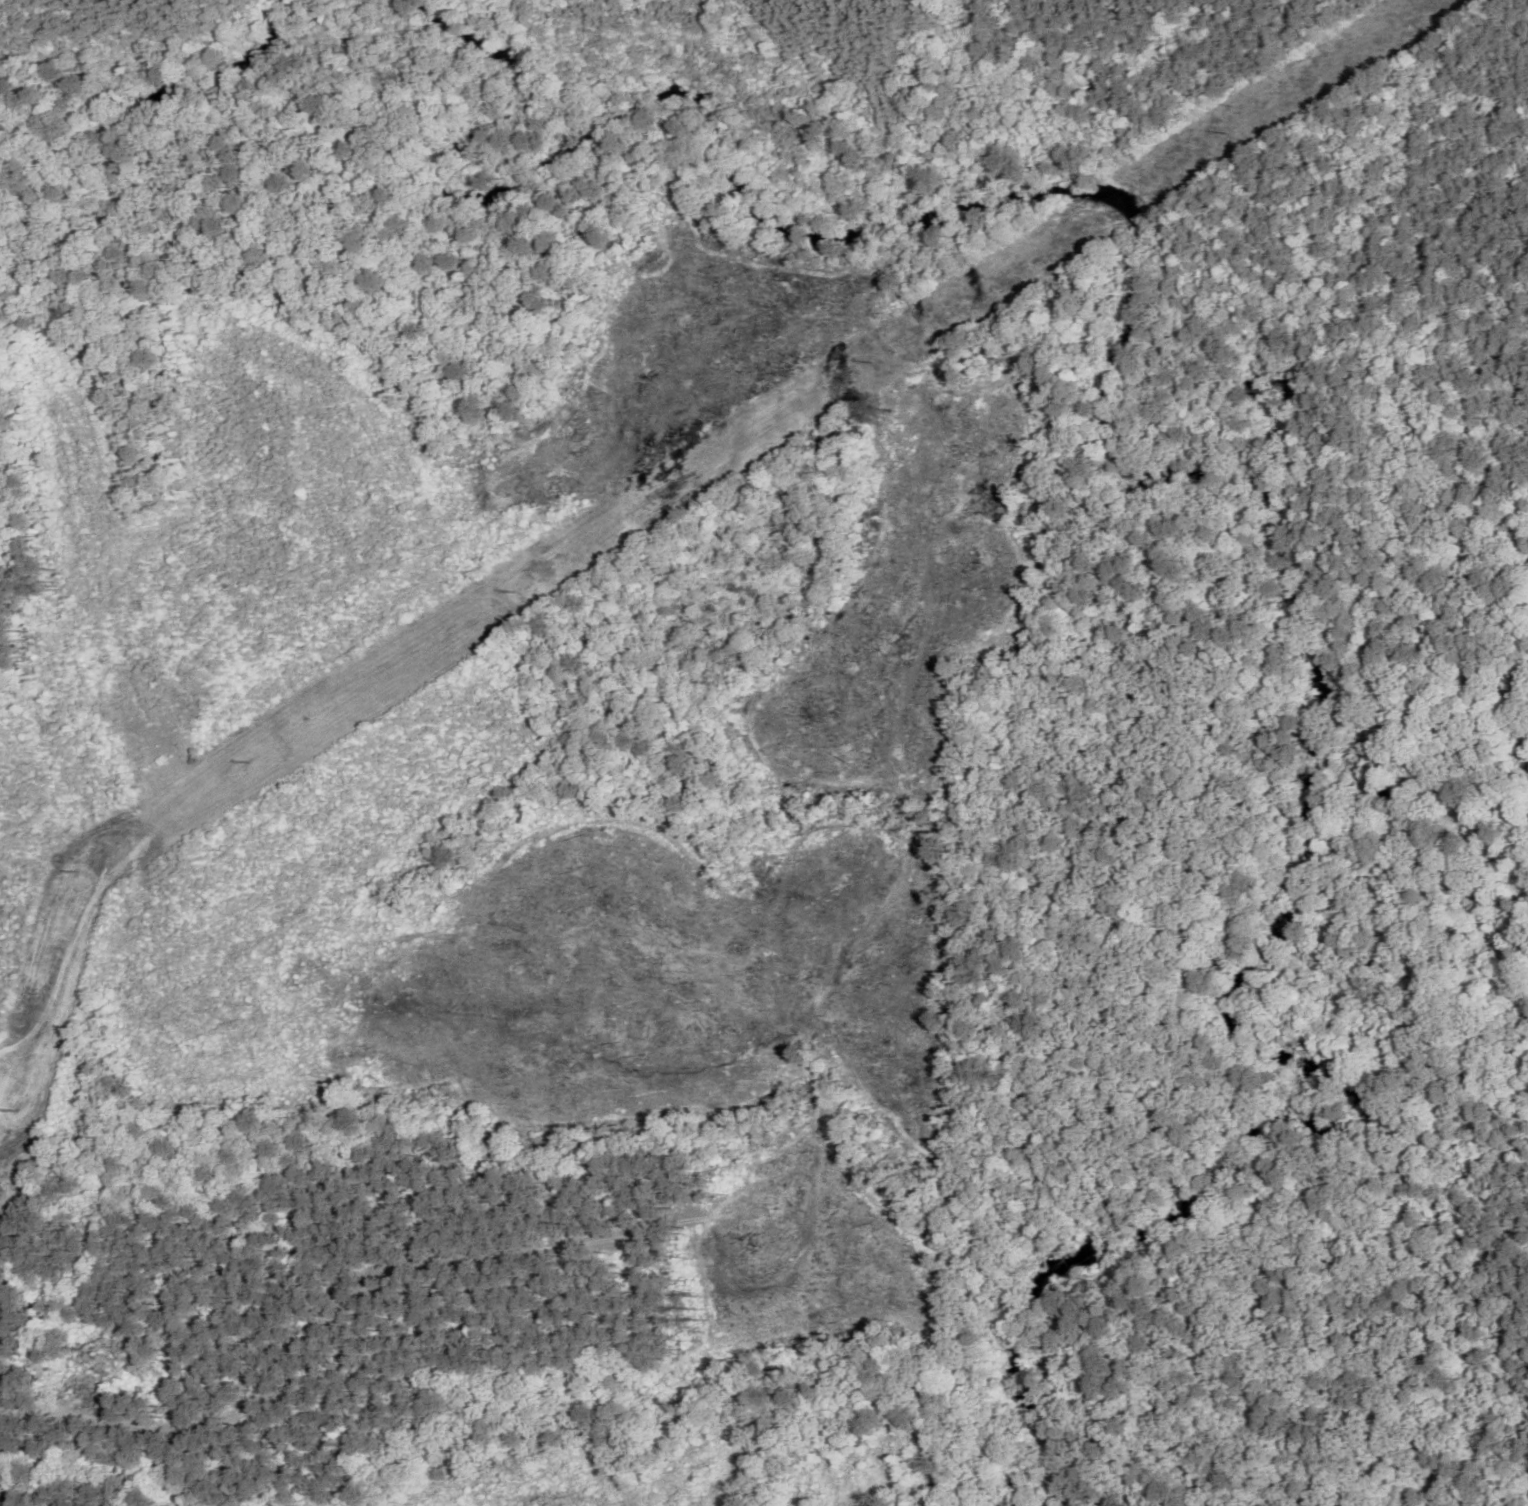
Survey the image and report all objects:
road: (577, 966)
road: (358, 1316)

